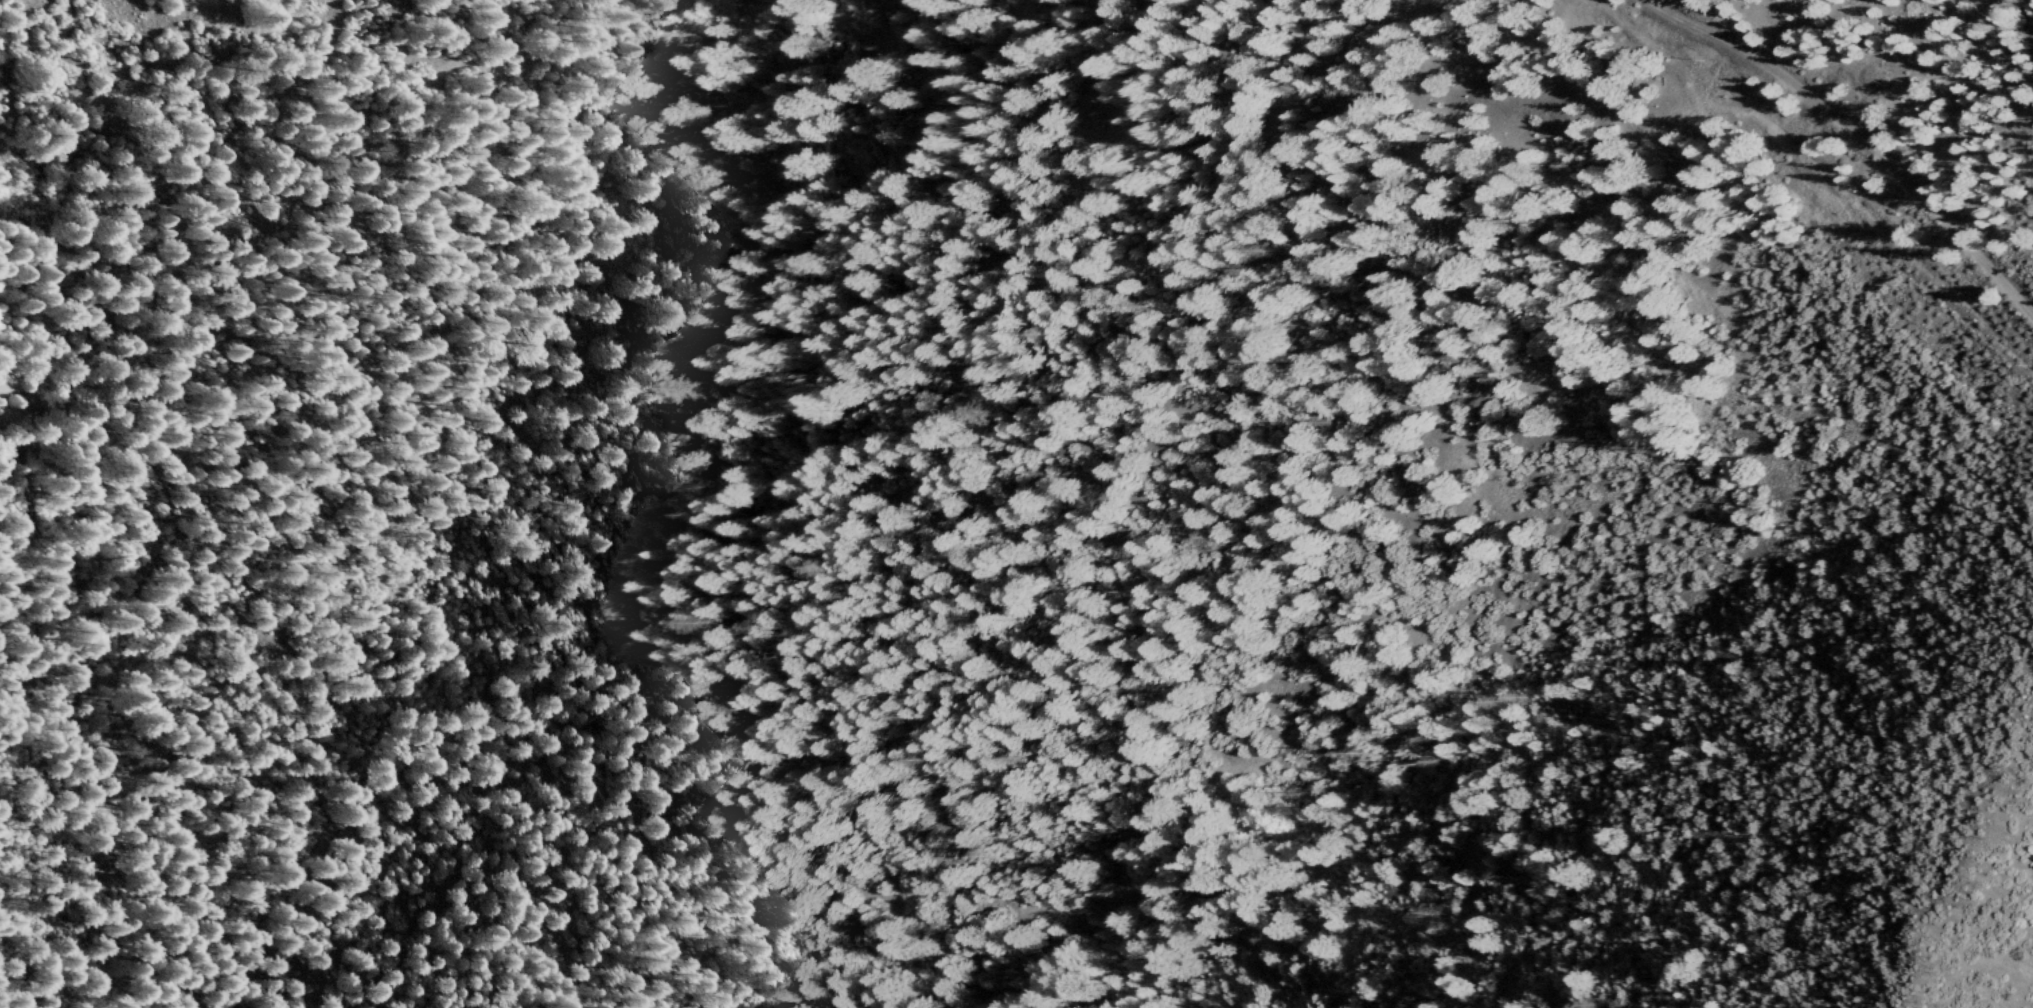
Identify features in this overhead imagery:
road: (1852, 138)

